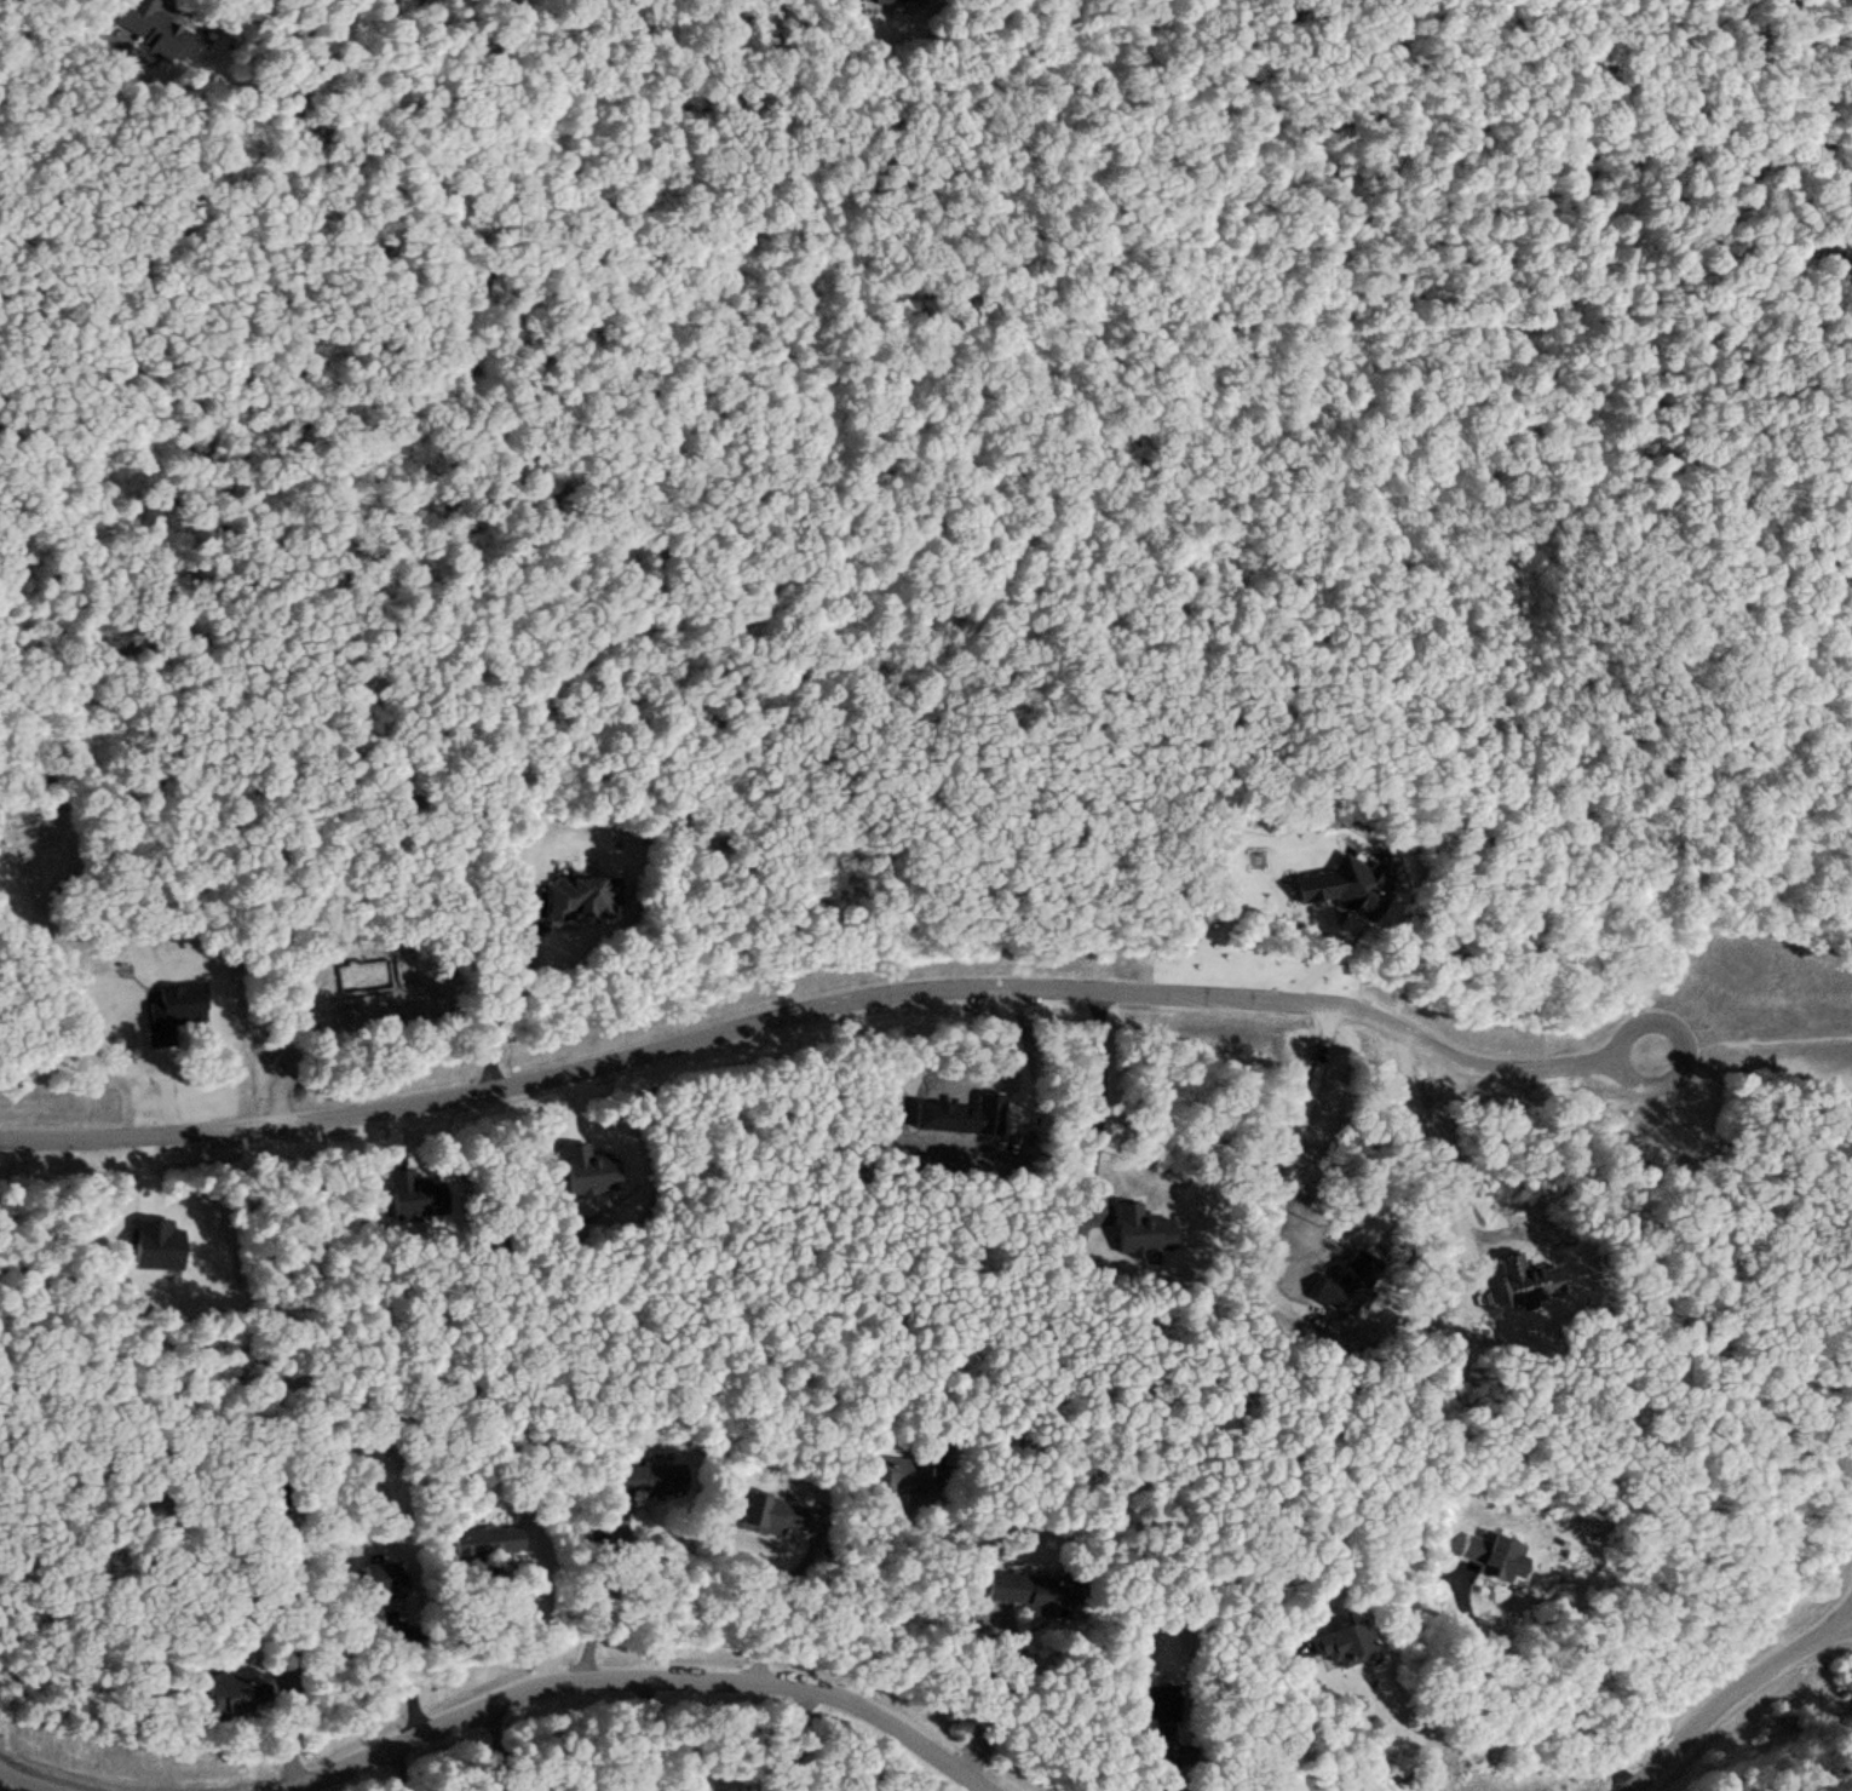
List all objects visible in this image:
building: (890, 1)
building: (151, 28)
road: (1369, 249)
building: (581, 899)
road: (809, 1011)
road: (1766, 1028)
road: (1681, 1046)
building: (1145, 1219)
building: (886, 1473)
building: (645, 1480)
building: (764, 1514)
building: (487, 1542)
building: (1495, 1558)
building: (381, 1579)
building: (1022, 1591)
building: (1342, 1646)
road: (645, 1675)
road: (1733, 1692)
building: (236, 1693)
building: (1157, 1701)
road: (30, 1781)

